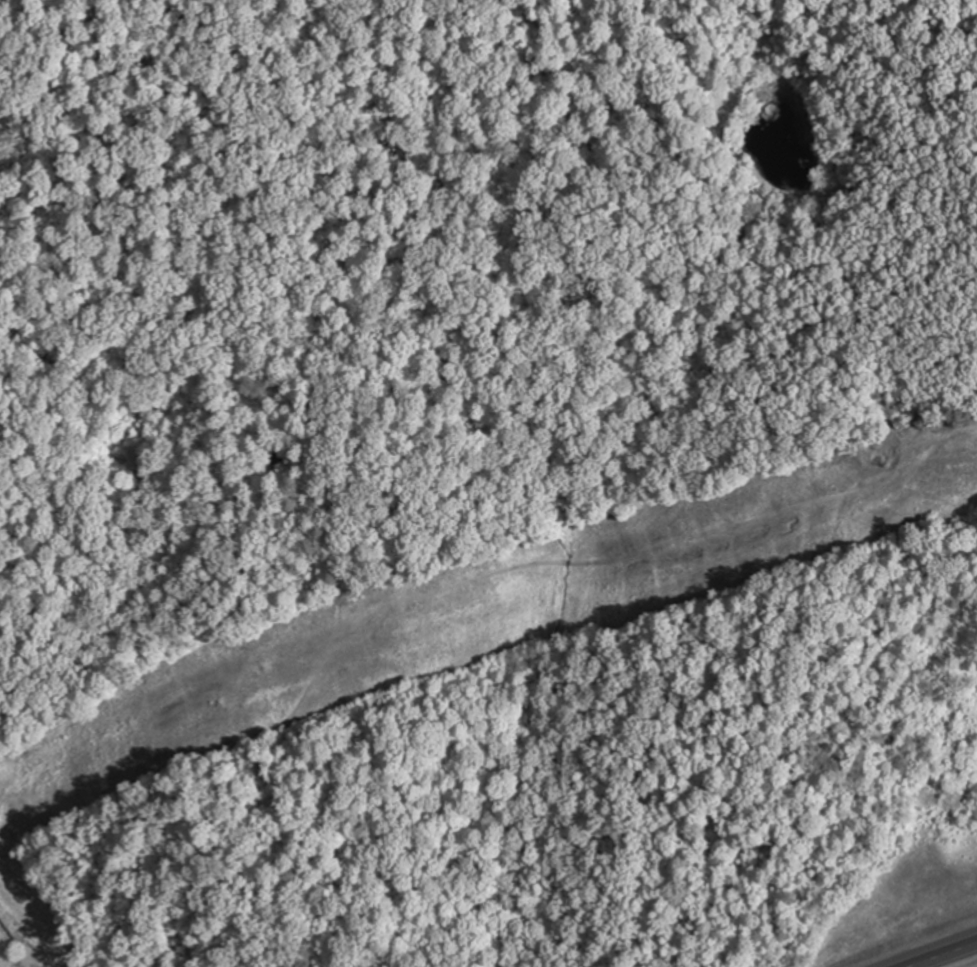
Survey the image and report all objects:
road: (940, 953)

